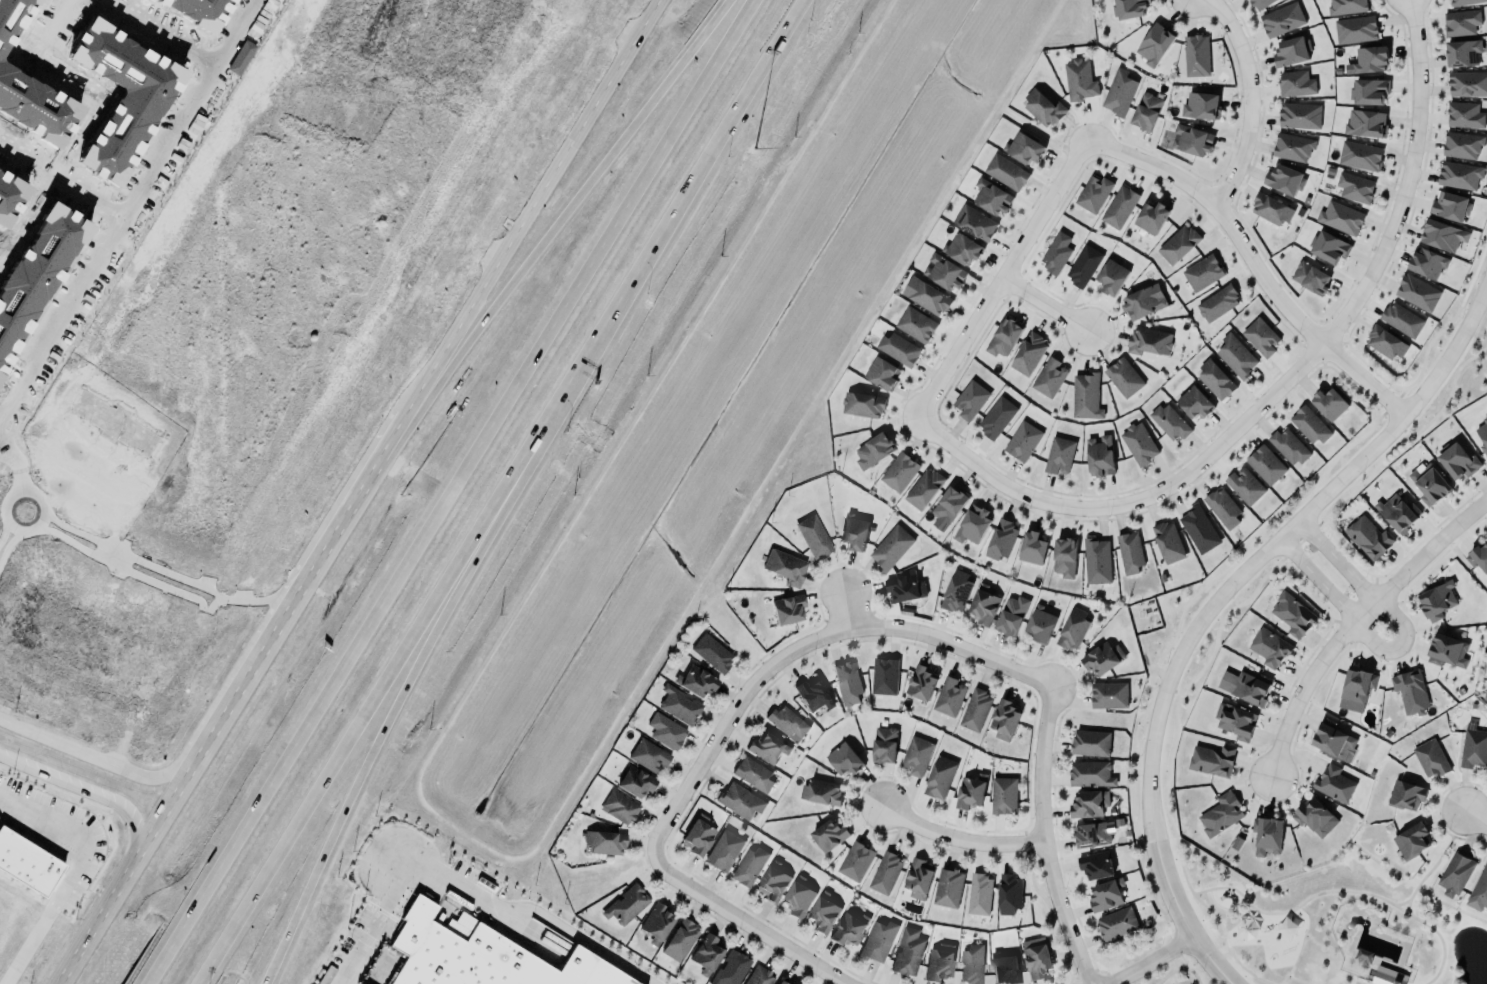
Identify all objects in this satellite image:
building: (1465, 2)
building: (1259, 3)
building: (1345, 6)
building: (1129, 8)
building: (1280, 19)
building: (1459, 22)
building: (1353, 28)
road: (163, 32)
building: (1153, 44)
building: (1290, 52)
building: (1461, 52)
building: (1196, 56)
building: (1369, 60)
building: (1077, 79)
building: (1294, 83)
building: (1467, 84)
building: (1368, 91)
building: (1119, 93)
road: (1248, 98)
building: (1201, 106)
building: (1041, 108)
building: (1146, 112)
building: (1298, 115)
building: (1464, 116)
building: (1364, 123)
building: (1192, 141)
building: (115, 142)
building: (1460, 144)
building: (1023, 147)
building: (1292, 148)
building: (1358, 155)
building: (1006, 173)
building: (1458, 174)
road: (61, 179)
building: (1284, 181)
road: (1405, 182)
building: (1353, 187)
building: (1093, 194)
road: (538, 195)
road: (575, 197)
building: (991, 197)
building: (1448, 206)
building: (1118, 207)
building: (1271, 210)
building: (1339, 217)
road: (121, 218)
building: (1151, 218)
building: (973, 222)
building: (1442, 236)
building: (1177, 244)
building: (1327, 247)
building: (962, 250)
building: (1057, 253)
building: (1426, 262)
road: (1254, 263)
building: (1083, 267)
building: (944, 273)
building: (1202, 273)
road: (1001, 276)
building: (1111, 276)
building: (1310, 278)
building: (1416, 292)
building: (924, 295)
building: (1142, 303)
road: (1047, 304)
building: (1217, 304)
road: (614, 309)
building: (1400, 319)
building: (915, 324)
building: (1259, 336)
building: (1002, 337)
building: (1147, 341)
building: (1383, 342)
building: (897, 348)
building: (1027, 353)
building: (1236, 357)
building: (880, 373)
building: (1047, 377)
building: (1123, 378)
building: (1215, 380)
building: (1085, 397)
building: (969, 399)
building: (1193, 402)
building: (1330, 404)
building: (862, 405)
building: (995, 417)
building: (1169, 423)
building: (1309, 425)
building: (1482, 435)
building: (1021, 440)
road: (0, 441)
building: (1138, 444)
building: (1288, 446)
building: (872, 451)
building: (1059, 456)
building: (1098, 456)
building: (1459, 459)
road: (15, 465)
building: (1265, 465)
building: (898, 471)
building: (1429, 484)
building: (1245, 486)
building: (922, 488)
road: (447, 492)
road: (9, 497)
road: (1132, 500)
building: (947, 505)
building: (1223, 508)
building: (1397, 512)
road: (40, 519)
building: (970, 525)
building: (1199, 530)
building: (854, 533)
building: (812, 535)
road: (15, 536)
building: (1367, 537)
building: (1001, 540)
building: (1168, 543)
building: (890, 548)
building: (1032, 549)
building: (1129, 553)
building: (1477, 555)
road: (113, 556)
building: (1064, 558)
building: (1096, 561)
road: (126, 566)
building: (783, 566)
road: (1339, 581)
road: (305, 586)
building: (905, 587)
building: (954, 591)
road: (258, 600)
building: (1435, 600)
road: (1216, 601)
building: (981, 607)
building: (788, 608)
road: (843, 612)
building: (1293, 615)
building: (1009, 616)
road: (1350, 616)
building: (1038, 624)
building: (1071, 629)
building: (1268, 646)
road: (803, 647)
building: (1446, 651)
building: (708, 655)
building: (1101, 658)
building: (880, 678)
building: (917, 684)
building: (695, 685)
building: (844, 685)
building: (1244, 687)
building: (1354, 689)
building: (1409, 691)
building: (807, 695)
building: (1107, 695)
building: (944, 698)
building: (674, 706)
building: (970, 712)
building: (1003, 720)
building: (1233, 721)
building: (783, 724)
road: (77, 725)
building: (659, 732)
building: (1089, 741)
building: (1334, 742)
building: (761, 748)
building: (881, 749)
building: (1473, 749)
road: (116, 754)
road: (90, 756)
building: (644, 758)
building: (911, 758)
building: (1429, 758)
building: (1210, 760)
building: (839, 762)
building: (1089, 774)
building: (750, 776)
building: (934, 780)
building: (1332, 783)
building: (632, 786)
road: (82, 788)
building: (815, 793)
building: (967, 793)
building: (1404, 795)
building: (998, 800)
road: (309, 801)
road: (343, 802)
building: (1087, 803)
building: (737, 805)
building: (614, 809)
building: (1220, 815)
building: (1313, 816)
road: (1475, 820)
building: (1094, 830)
building: (826, 836)
building: (1267, 836)
road: (1039, 840)
building: (693, 841)
building: (1409, 841)
road: (957, 843)
building: (601, 844)
building: (720, 854)
road: (1436, 858)
building: (851, 864)
building: (27, 865)
building: (1095, 865)
building: (745, 868)
building: (880, 874)
building: (1455, 875)
road: (73, 877)
building: (914, 879)
road: (121, 881)
building: (768, 888)
building: (944, 890)
building: (1479, 891)
road: (1336, 892)
building: (1106, 895)
building: (974, 896)
building: (1005, 897)
building: (793, 902)
road: (1397, 904)
building: (616, 907)
road: (1405, 909)
road: (527, 914)
building: (818, 916)
road: (1210, 917)
road: (368, 923)
building: (1116, 923)
road: (745, 924)
building: (654, 927)
building: (845, 933)
building: (677, 942)
building: (873, 943)
parking lot: (361, 950)
building: (903, 953)
building: (704, 955)
building: (478, 958)
building: (1033, 961)
road: (1150, 962)
building: (936, 965)
building: (967, 965)
road: (1177, 969)
building: (727, 971)
building: (1001, 972)
building: (755, 977)
building: (1388, 977)
building: (777, 983)
parking lot: (1353, 983)

